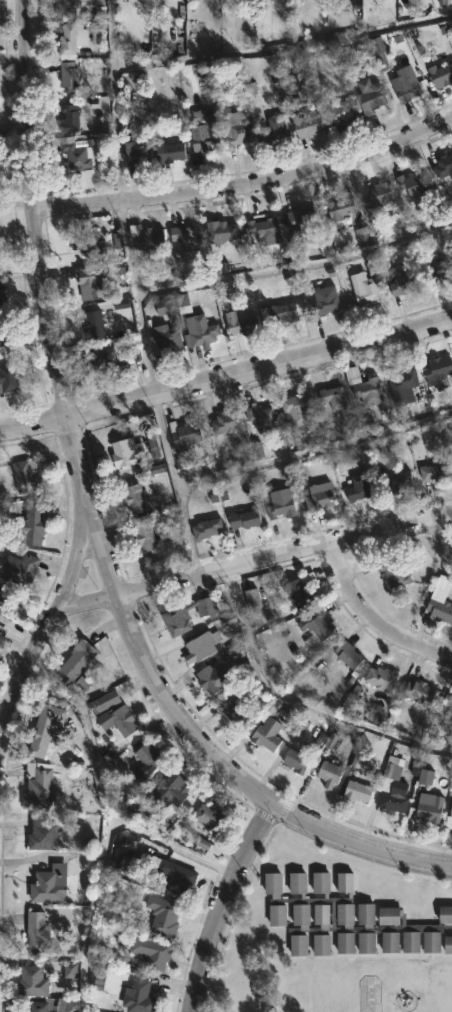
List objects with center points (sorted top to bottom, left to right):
building: (74, 6)
building: (67, 39)
road: (281, 47)
building: (380, 51)
building: (441, 74)
building: (69, 75)
building: (406, 83)
building: (252, 88)
building: (373, 97)
road: (109, 100)
building: (343, 112)
building: (69, 118)
building: (307, 124)
building: (237, 128)
building: (274, 128)
building: (206, 135)
building: (137, 148)
building: (169, 150)
building: (76, 151)
building: (443, 165)
road: (155, 183)
building: (414, 184)
road: (246, 185)
building: (378, 194)
building: (340, 208)
road: (32, 209)
building: (306, 220)
building: (221, 231)
building: (265, 231)
building: (147, 236)
building: (184, 236)
building: (362, 237)
building: (117, 240)
building: (88, 243)
building: (325, 247)
building: (440, 269)
building: (401, 280)
building: (87, 282)
building: (365, 287)
building: (2, 294)
road: (137, 297)
building: (325, 301)
building: (120, 304)
building: (162, 307)
building: (278, 314)
building: (93, 321)
building: (240, 324)
building: (196, 326)
building: (2, 334)
building: (168, 338)
building: (134, 353)
building: (106, 357)
road: (259, 368)
building: (437, 369)
building: (9, 377)
building: (403, 385)
building: (365, 387)
building: (334, 397)
building: (296, 408)
building: (262, 417)
building: (226, 422)
road: (32, 424)
building: (184, 435)
building: (381, 447)
building: (152, 448)
building: (125, 452)
road: (76, 455)
building: (436, 471)
building: (27, 476)
building: (397, 481)
road: (169, 486)
building: (358, 488)
building: (320, 497)
building: (134, 498)
building: (281, 504)
building: (242, 522)
building: (27, 524)
building: (207, 528)
building: (145, 537)
road: (102, 544)
road: (437, 546)
road: (253, 563)
building: (19, 570)
building: (395, 573)
building: (302, 590)
building: (250, 592)
building: (440, 600)
building: (9, 602)
building: (176, 611)
road: (52, 614)
road: (374, 618)
building: (227, 621)
building: (317, 625)
building: (2, 631)
building: (202, 646)
building: (233, 649)
building: (348, 655)
building: (78, 658)
building: (382, 678)
building: (209, 680)
building: (82, 683)
building: (419, 692)
building: (106, 701)
road: (299, 701)
building: (448, 707)
road: (175, 710)
building: (237, 712)
building: (121, 721)
building: (302, 725)
building: (45, 730)
building: (267, 734)
building: (330, 740)
building: (298, 761)
building: (147, 762)
building: (392, 769)
building: (329, 774)
building: (425, 777)
building: (383, 785)
building: (170, 790)
building: (39, 791)
building: (357, 791)
building: (394, 799)
building: (431, 809)
building: (451, 811)
building: (209, 815)
building: (409, 821)
building: (44, 834)
road: (355, 845)
building: (176, 876)
building: (49, 885)
road: (217, 902)
building: (445, 912)
building: (164, 917)
building: (343, 917)
building: (37, 933)
building: (447, 941)
building: (151, 951)
building: (69, 970)
building: (33, 981)
building: (107, 983)
building: (139, 997)
building: (67, 1005)
building: (37, 1007)

